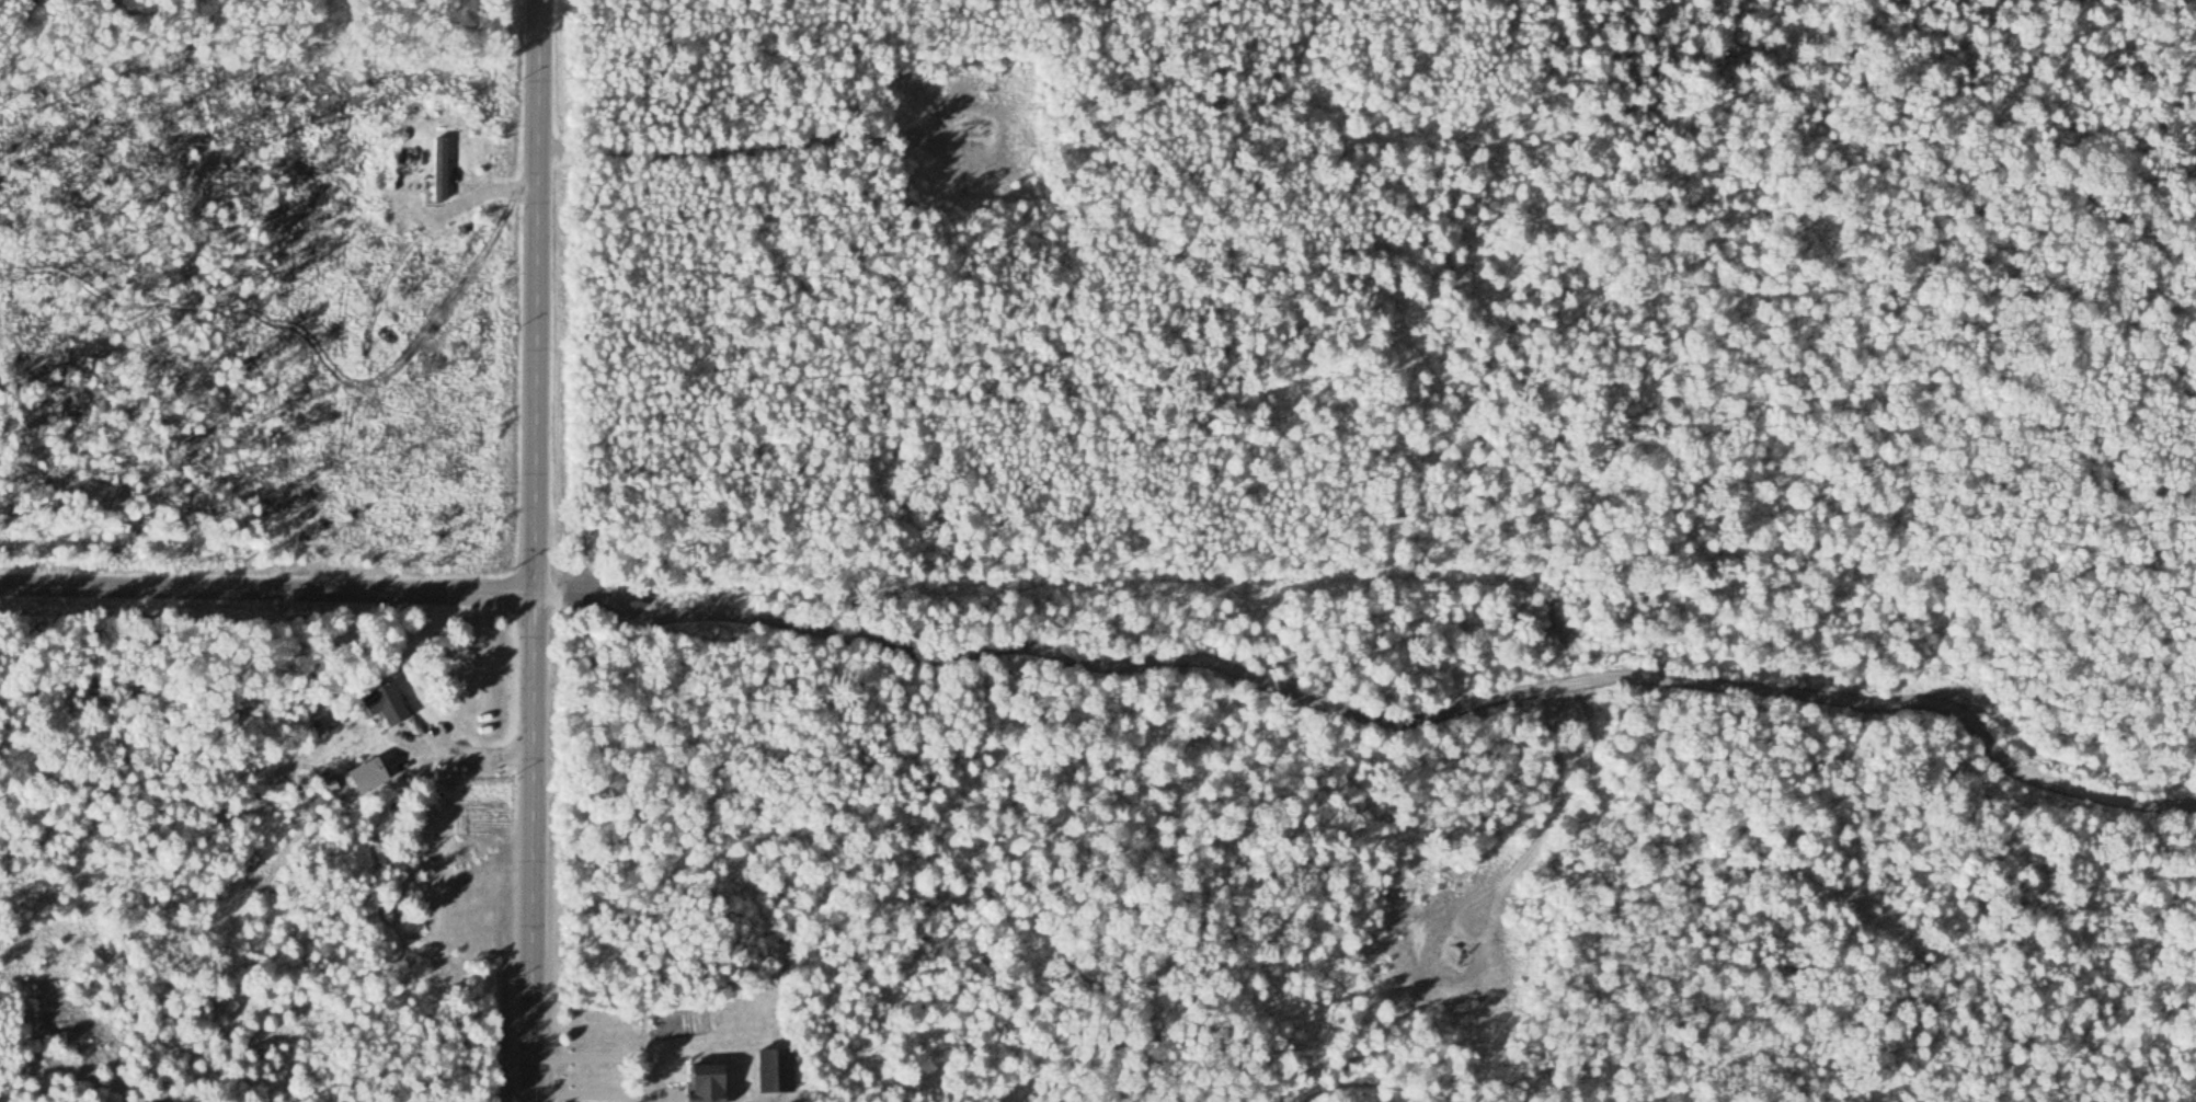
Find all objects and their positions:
road: (837, 137)
building: (439, 168)
road: (536, 550)
road: (267, 588)
building: (380, 702)
road: (1379, 731)
building: (366, 774)
building: (774, 1069)
building: (704, 1082)

